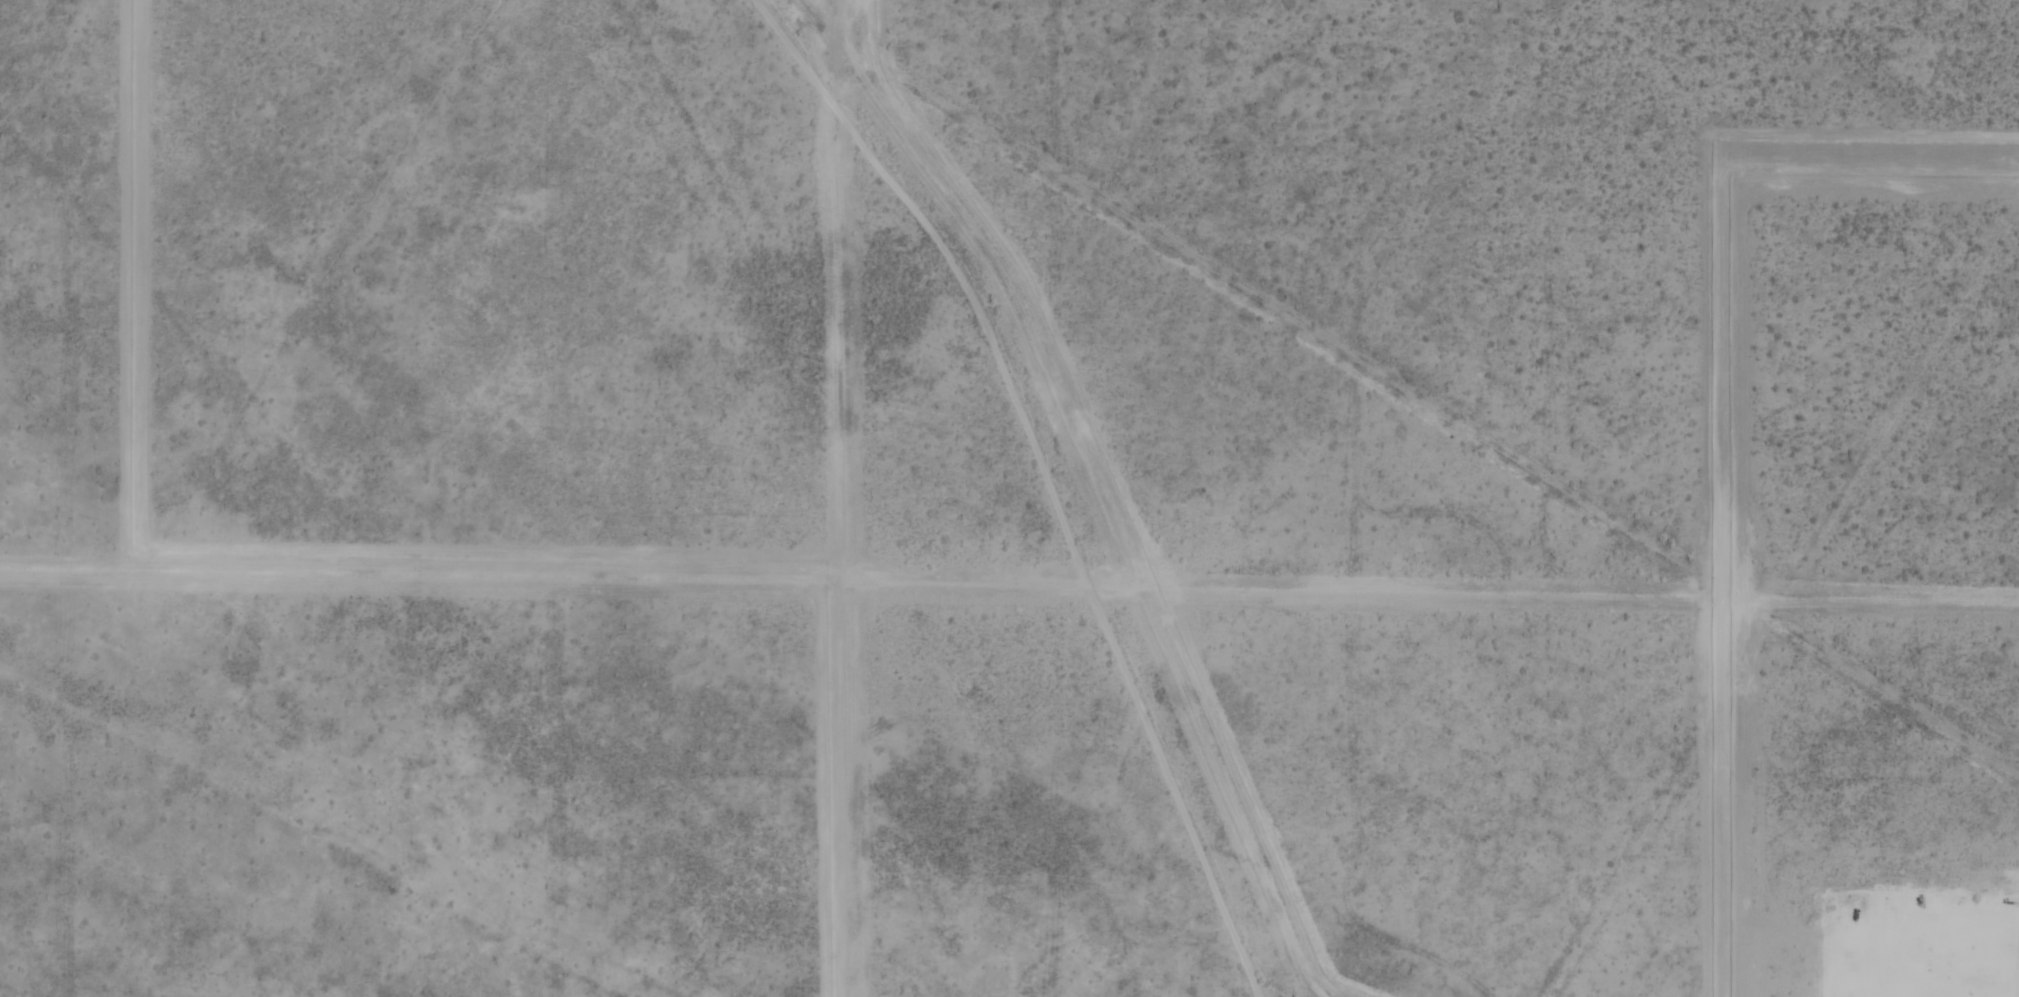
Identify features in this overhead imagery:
road: (2001, 989)

